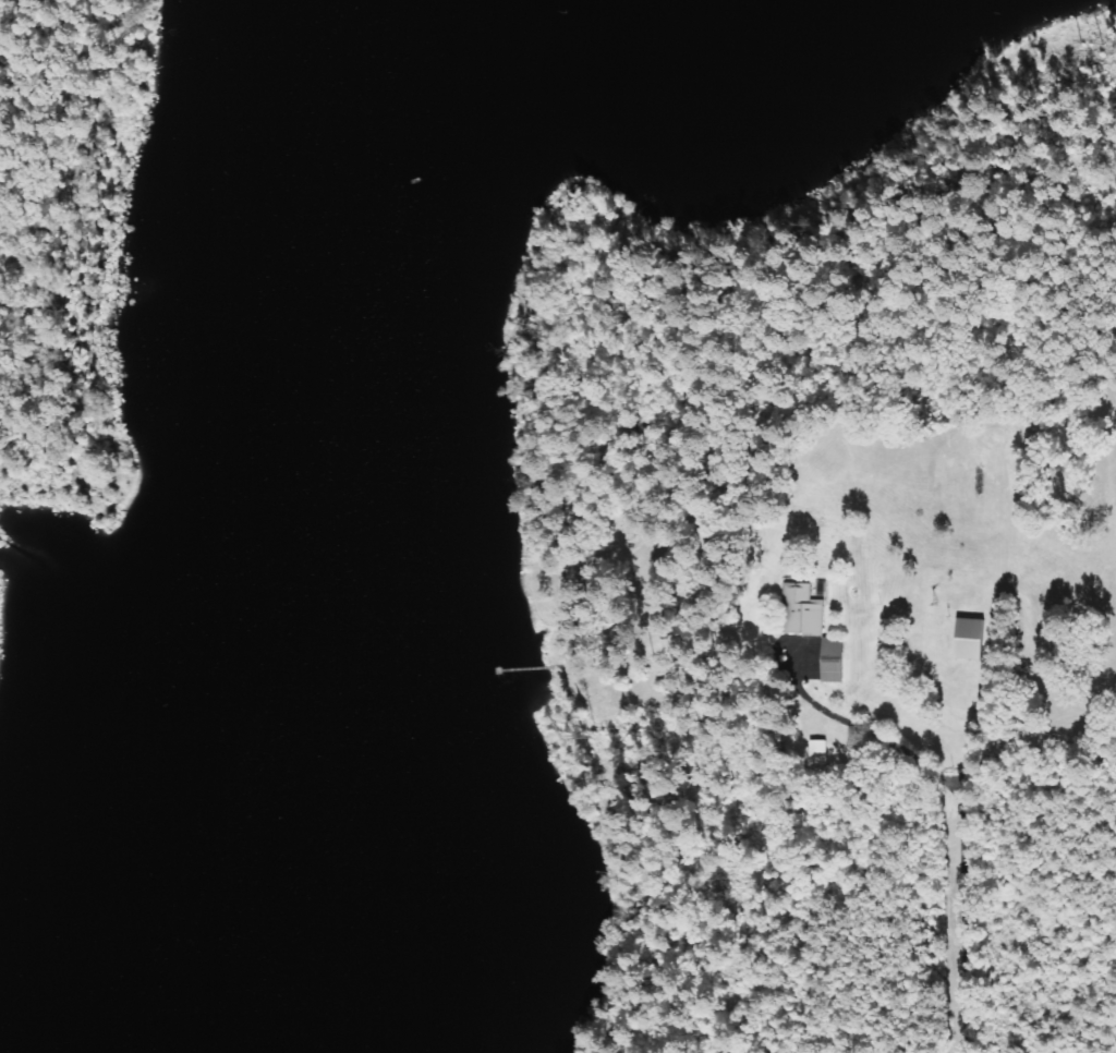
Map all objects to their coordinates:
building: (801, 610)
building: (969, 639)
building: (833, 661)
road: (951, 928)

